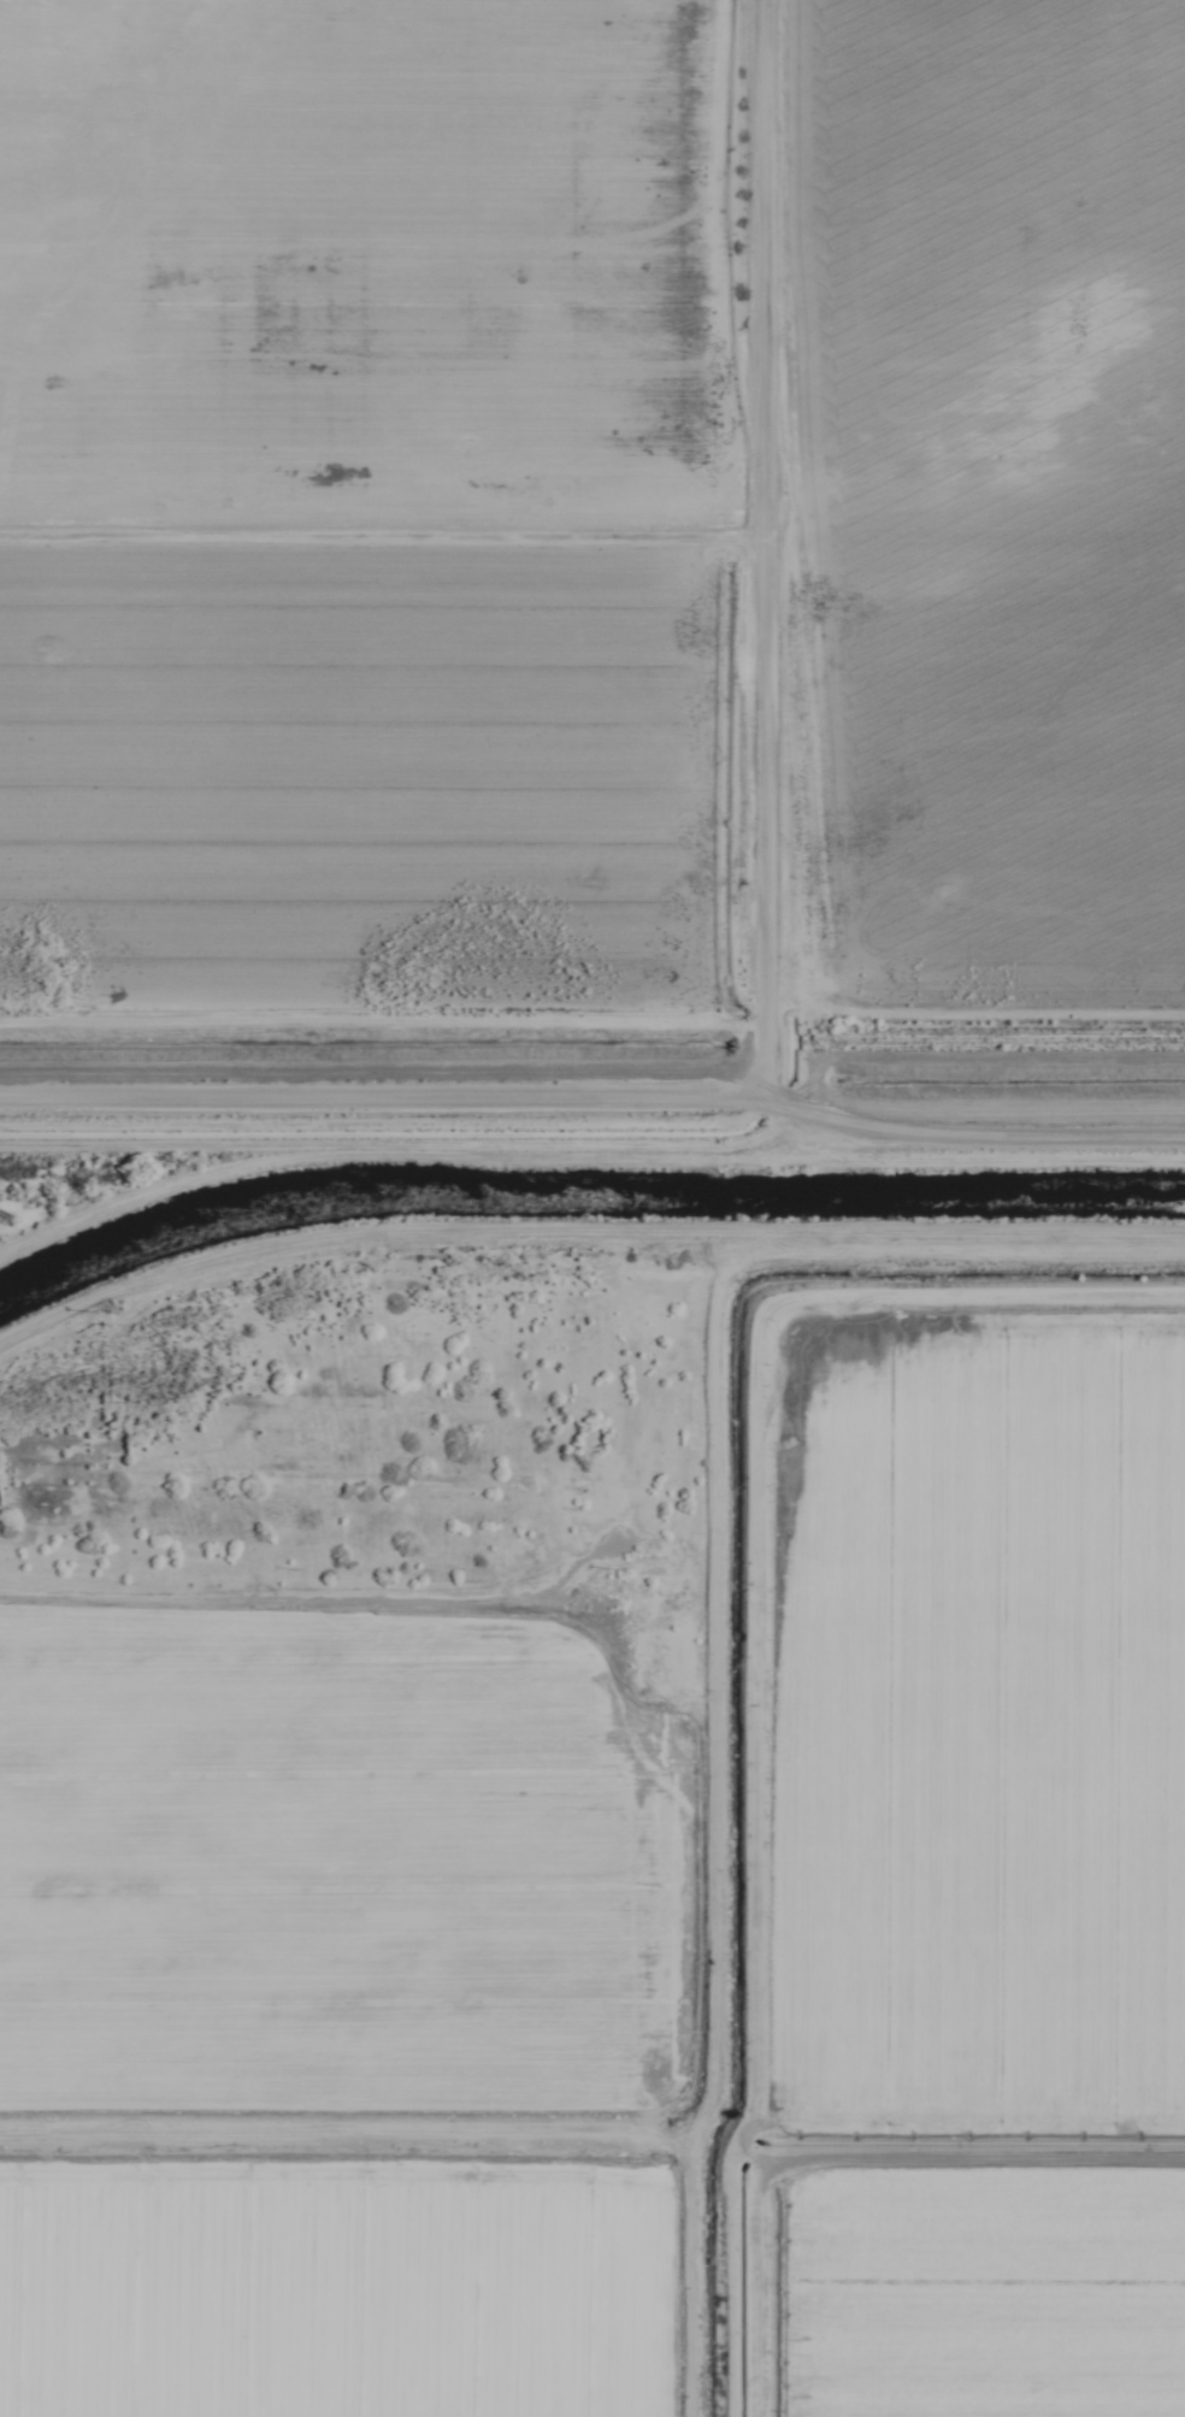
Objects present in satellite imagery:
road: (774, 572)
road: (592, 1145)

